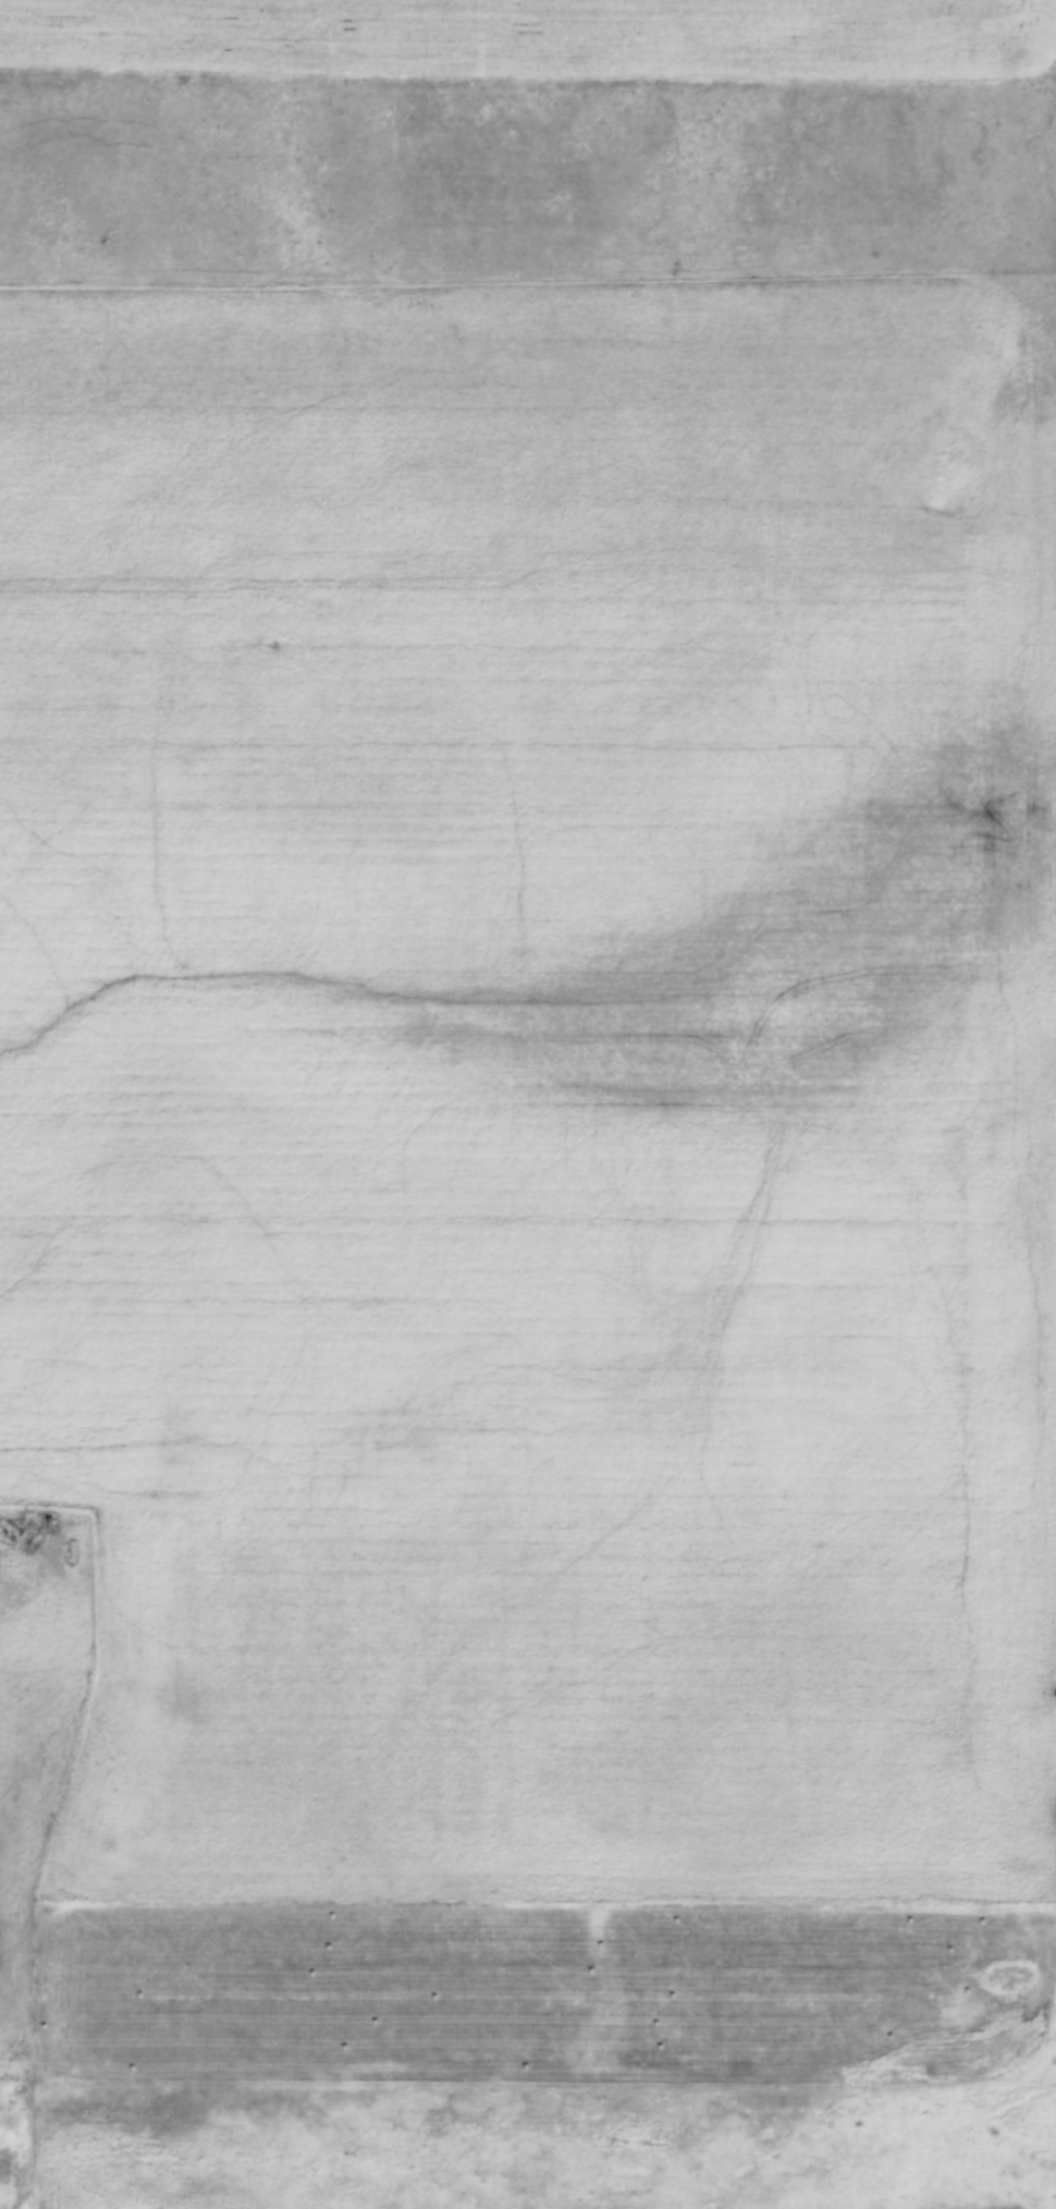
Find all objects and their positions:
crop: (533, 1991)

